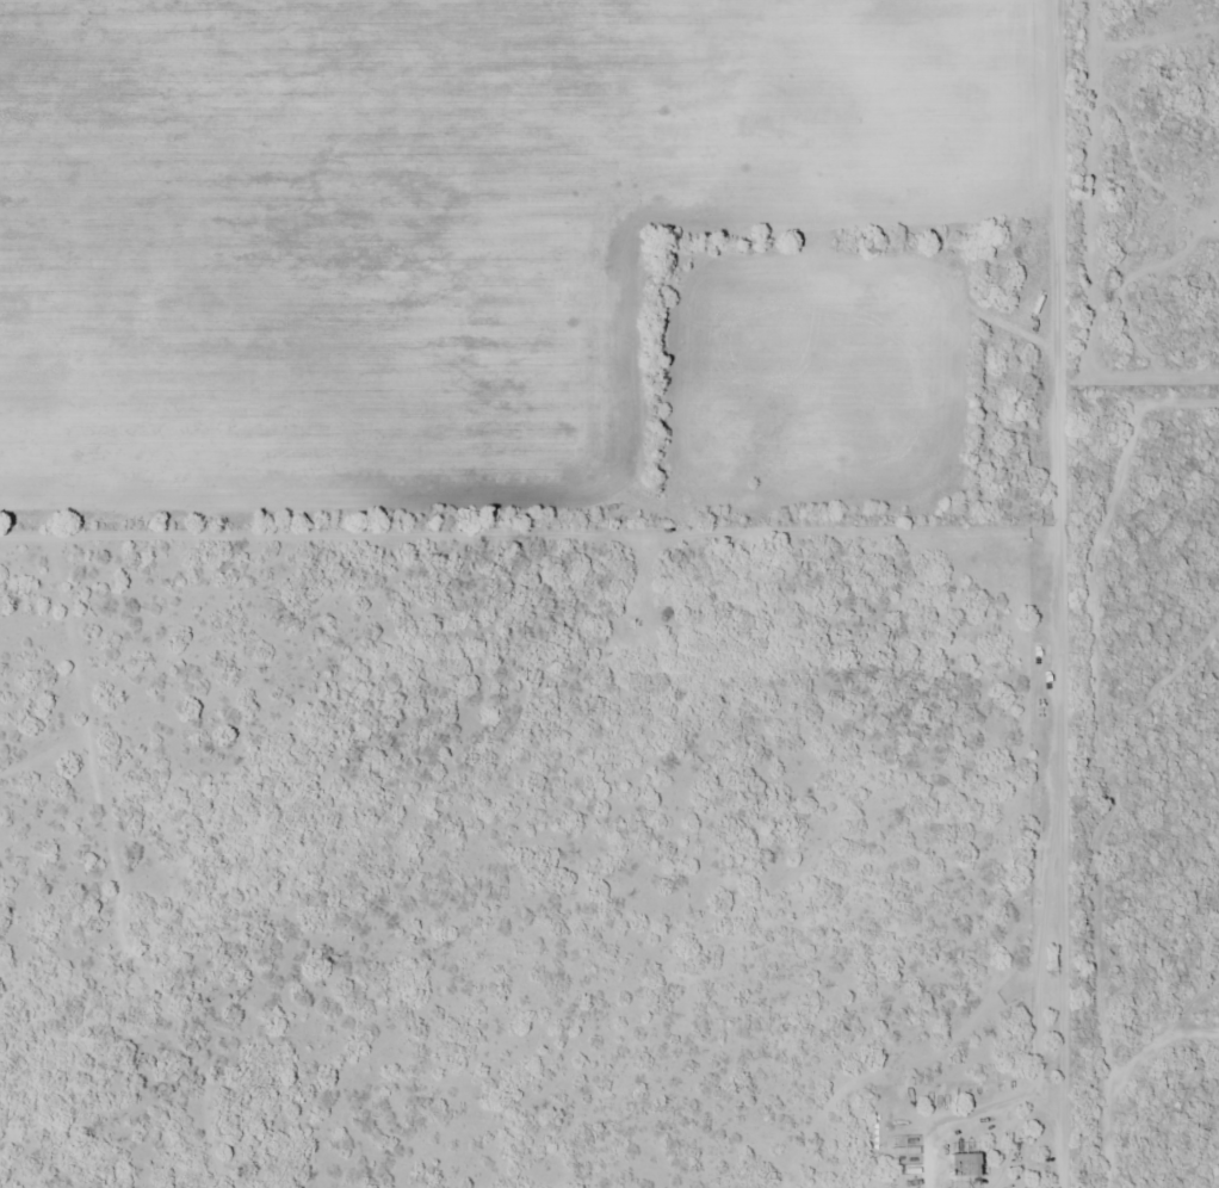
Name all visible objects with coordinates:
building: (961, 1163)

